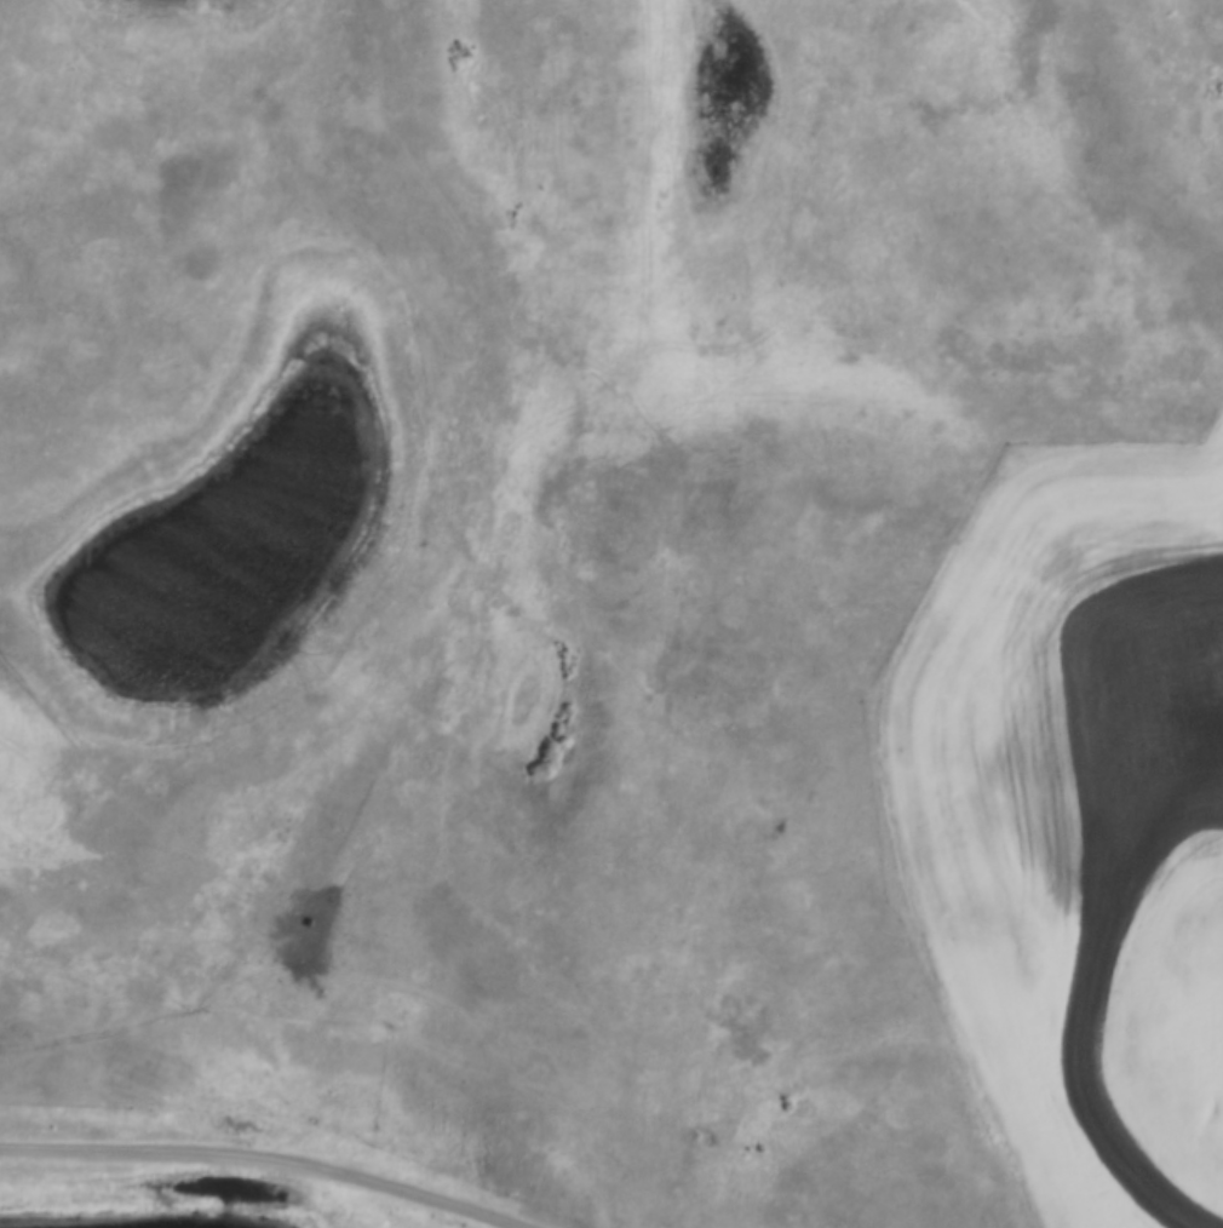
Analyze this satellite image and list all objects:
road: (276, 1152)

